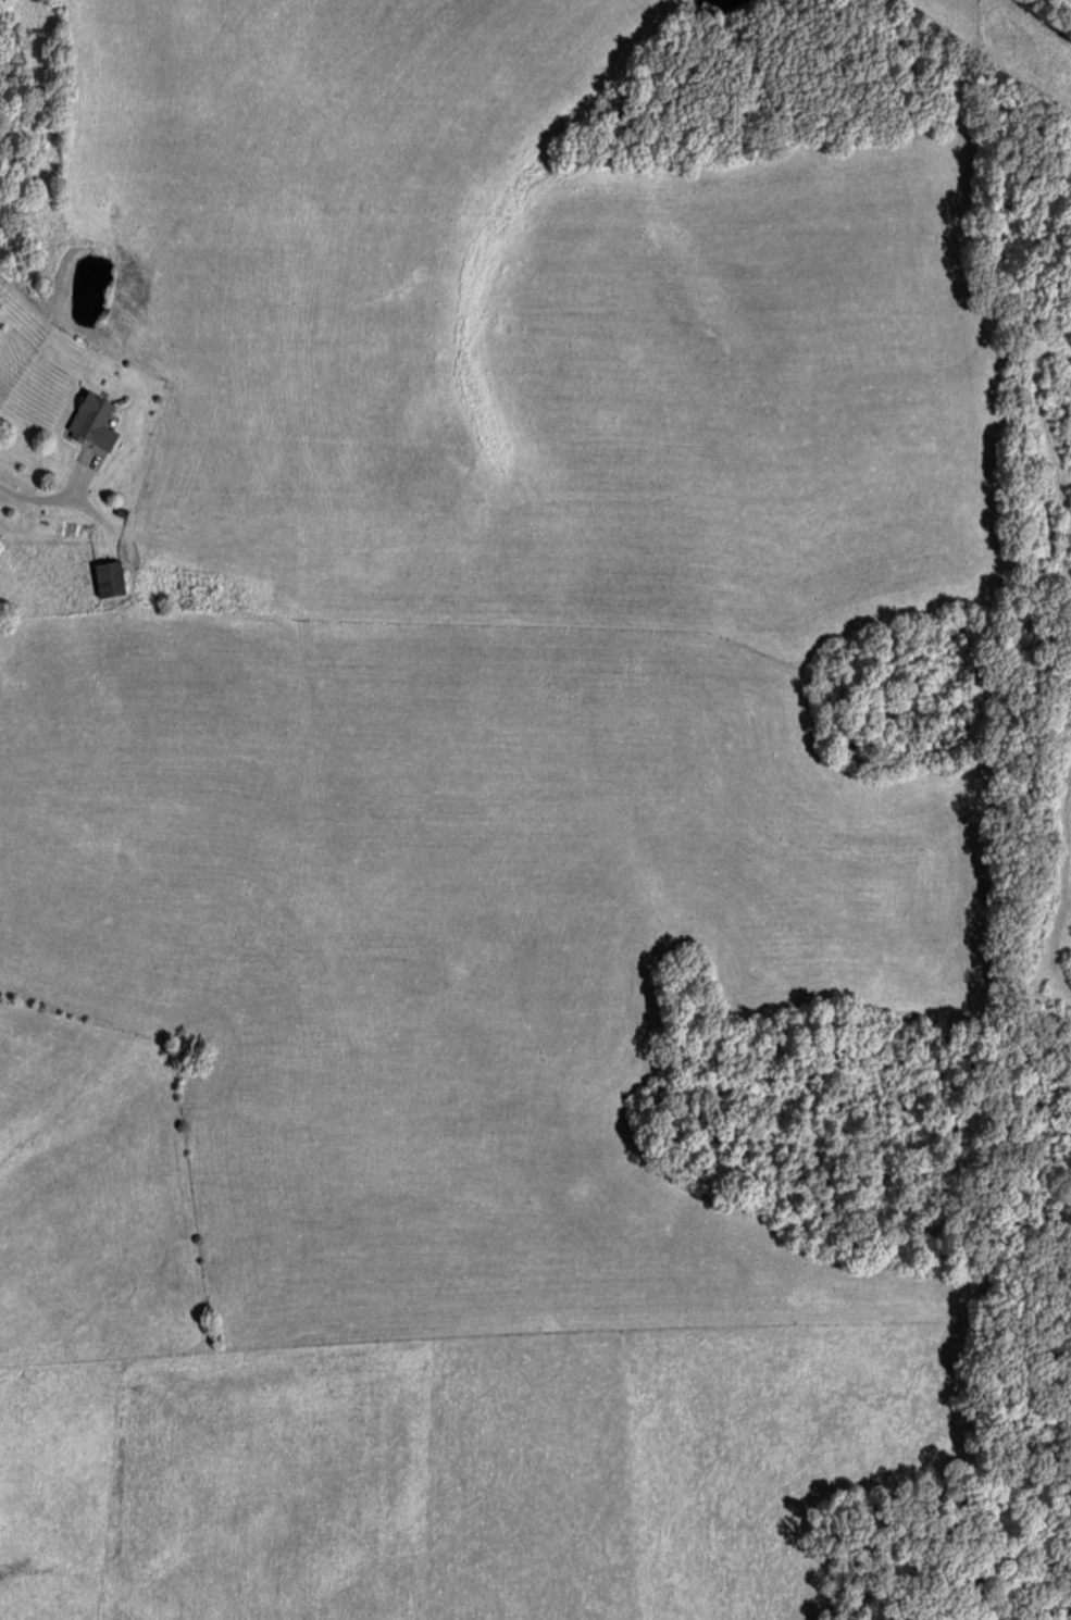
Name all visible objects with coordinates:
building: (89, 423)
road: (0, 476)
building: (107, 578)

